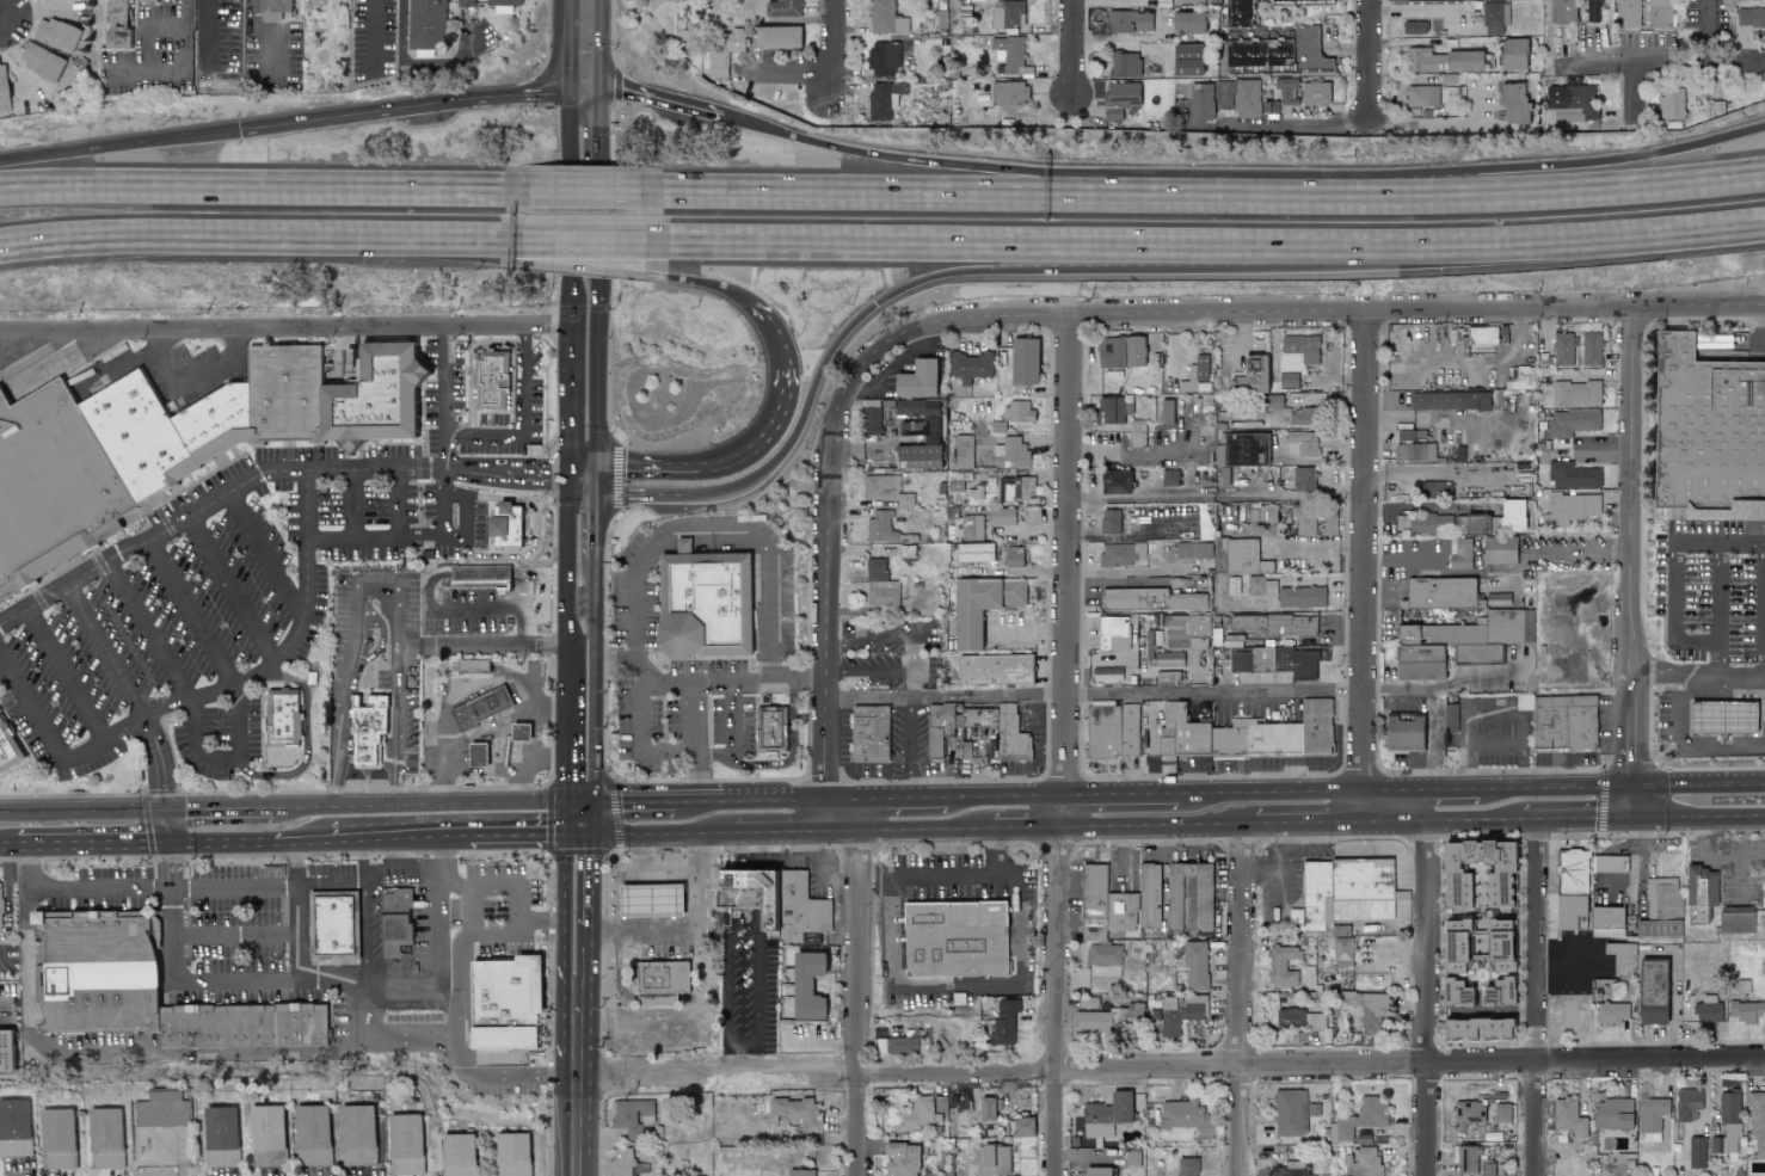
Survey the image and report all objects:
building: (1125, 0)
building: (1293, 0)
building: (37, 1)
building: (148, 1)
building: (1188, 1)
building: (504, 2)
building: (465, 4)
building: (271, 8)
building: (782, 8)
road: (1413, 11)
building: (1592, 11)
building: (1562, 12)
building: (1236, 13)
building: (1007, 14)
building: (1644, 14)
building: (885, 18)
building: (1494, 18)
building: (1752, 18)
building: (1129, 21)
building: (1187, 23)
building: (426, 24)
building: (117, 26)
road: (165, 27)
building: (1414, 27)
parking lot: (1704, 29)
building: (675, 31)
road: (1708, 32)
building: (55, 35)
road: (276, 35)
building: (776, 38)
road: (375, 39)
road: (205, 42)
road: (585, 44)
road: (834, 48)
road: (1071, 48)
building: (1308, 49)
building: (725, 50)
building: (1278, 53)
building: (1009, 54)
building: (1180, 54)
building: (1244, 54)
road: (1366, 55)
building: (1512, 55)
building: (1426, 56)
building: (1408, 57)
building: (884, 59)
building: (41, 61)
building: (1462, 61)
building: (1125, 66)
road: (1661, 66)
road: (416, 67)
road: (183, 70)
building: (2, 86)
building: (1287, 91)
building: (1315, 93)
building: (1009, 94)
building: (1223, 94)
building: (1421, 96)
building: (1247, 98)
building: (1119, 99)
building: (882, 100)
building: (1573, 100)
building: (1200, 103)
building: (1512, 104)
building: (1671, 104)
building: (1271, 106)
road: (412, 109)
road: (1316, 124)
road: (1441, 128)
road: (119, 147)
road: (599, 148)
road: (931, 164)
road: (1586, 165)
road: (273, 190)
road: (584, 192)
road: (1586, 192)
road: (953, 195)
road: (1347, 196)
road: (567, 202)
road: (1759, 227)
road: (1759, 227)
road: (183, 234)
road: (459, 238)
road: (584, 239)
road: (1527, 241)
road: (959, 242)
road: (460, 250)
road: (589, 265)
road: (942, 277)
road: (685, 281)
road: (1366, 313)
road: (284, 328)
road: (773, 331)
building: (1484, 334)
road: (599, 341)
road: (21, 345)
road: (1243, 345)
building: (1591, 347)
building: (1562, 349)
building: (1120, 350)
building: (1298, 352)
building: (1022, 359)
road: (891, 361)
building: (970, 365)
road: (1463, 365)
building: (1201, 367)
road: (475, 369)
building: (1250, 374)
road: (192, 376)
building: (915, 377)
building: (1521, 377)
building: (493, 380)
building: (1287, 380)
road: (524, 382)
road: (570, 394)
building: (1576, 394)
parking lot: (529, 396)
road: (445, 398)
building: (1450, 400)
building: (1265, 401)
building: (910, 407)
building: (1112, 408)
building: (1017, 411)
building: (1167, 411)
building: (1302, 417)
building: (871, 418)
building: (1573, 423)
building: (1137, 433)
building: (1406, 435)
building: (1711, 435)
road: (486, 438)
road: (765, 438)
building: (1303, 442)
building: (172, 445)
building: (1242, 449)
building: (964, 451)
building: (1010, 451)
building: (1414, 451)
building: (918, 452)
road: (641, 467)
road: (515, 472)
building: (1572, 475)
building: (1169, 478)
building: (1298, 478)
road: (584, 481)
building: (1113, 481)
building: (1017, 487)
building: (1437, 488)
building: (885, 490)
road: (635, 497)
road: (1216, 499)
road: (401, 504)
road: (210, 505)
road: (353, 505)
building: (1573, 510)
building: (1260, 512)
building: (1001, 516)
road: (444, 518)
building: (502, 519)
building: (1303, 519)
building: (1328, 519)
building: (1495, 519)
building: (1109, 521)
building: (1423, 523)
road: (465, 525)
building: (880, 525)
building: (968, 527)
road: (584, 528)
road: (830, 536)
road: (355, 541)
building: (1194, 549)
building: (1499, 549)
road: (1635, 549)
building: (972, 550)
building: (1121, 554)
building: (1460, 554)
building: (1237, 555)
building: (1013, 556)
road: (1591, 556)
road: (265, 559)
road: (1364, 567)
building: (875, 569)
road: (1066, 569)
road: (1674, 572)
road: (636, 574)
building: (491, 578)
road: (377, 583)
road: (1137, 584)
building: (1261, 586)
road: (230, 592)
building: (1441, 595)
building: (882, 596)
building: (1300, 596)
building: (1496, 599)
building: (1137, 602)
building: (980, 604)
road: (498, 607)
building: (706, 607)
road: (1718, 611)
road: (192, 614)
building: (1219, 622)
building: (1275, 623)
road: (583, 626)
building: (1187, 626)
road: (149, 630)
road: (1026, 630)
building: (1113, 633)
road: (899, 640)
building: (1231, 640)
road: (355, 641)
building: (1177, 642)
building: (1457, 642)
road: (491, 645)
road: (106, 651)
road: (609, 661)
building: (1277, 661)
building: (472, 665)
building: (994, 669)
road: (264, 671)
road: (872, 673)
road: (7, 675)
road: (67, 677)
building: (1163, 677)
road: (1699, 678)
road: (400, 681)
road: (519, 684)
road: (1185, 692)
building: (1502, 701)
road: (559, 702)
road: (33, 704)
building: (480, 707)
road: (1498, 714)
building: (1450, 716)
building: (1720, 716)
building: (284, 719)
gas station: (1726, 719)
road: (242, 720)
building: (954, 722)
building: (1566, 726)
building: (1318, 728)
building: (1111, 729)
building: (517, 731)
building: (774, 731)
building: (1009, 731)
building: (368, 733)
building: (1407, 733)
building: (872, 735)
building: (1191, 735)
building: (1453, 739)
road: (695, 740)
building: (1257, 740)
building: (1275, 740)
building: (1293, 740)
road: (1433, 740)
building: (1229, 741)
road: (1498, 745)
road: (199, 746)
road: (912, 746)
road: (1689, 746)
building: (8, 747)
road: (583, 749)
road: (338, 750)
building: (965, 750)
building: (474, 753)
road: (685, 756)
road: (559, 759)
road: (161, 761)
road: (522, 786)
road: (1699, 786)
traffic signals: (1634, 788)
road: (1555, 789)
road: (399, 790)
road: (1419, 790)
road: (1271, 792)
road: (1121, 794)
road: (1007, 795)
road: (888, 796)
road: (774, 798)
road: (697, 799)
road: (628, 801)
traffic signals: (583, 802)
road: (426, 804)
road: (1634, 805)
road: (219, 807)
traffic signals: (166, 809)
road: (82, 811)
road: (583, 821)
road: (1699, 821)
road: (1441, 823)
road: (1579, 823)
traffic signals: (1634, 823)
road: (1028, 824)
road: (1160, 824)
road: (1309, 824)
road: (910, 827)
road: (779, 832)
road: (657, 837)
road: (529, 839)
road: (400, 841)
traffic signals: (583, 841)
road: (246, 842)
traffic signals: (168, 844)
road: (87, 845)
road: (4, 849)
road: (168, 849)
road: (404, 854)
road: (438, 854)
road: (1129, 856)
road: (1715, 861)
road: (824, 863)
building: (1609, 863)
road: (297, 864)
road: (364, 864)
road: (1263, 866)
road: (1283, 867)
road: (29, 869)
building: (1573, 872)
road: (952, 873)
road: (582, 882)
road: (1739, 885)
road: (239, 888)
road: (480, 888)
building: (1499, 889)
building: (1346, 891)
building: (1699, 892)
building: (1151, 893)
building: (1191, 895)
building: (1663, 898)
building: (771, 899)
building: (0, 903)
building: (653, 903)
building: (1103, 906)
road: (7, 909)
building: (1569, 910)
road: (524, 912)
building: (1606, 916)
road: (25, 917)
building: (394, 919)
road: (553, 921)
building: (1736, 921)
building: (1760, 921)
road: (439, 922)
building: (1673, 928)
building: (1644, 929)
road: (365, 934)
road: (172, 935)
road: (299, 935)
road: (731, 935)
road: (497, 936)
road: (235, 937)
road: (582, 937)
road: (690, 940)
building: (958, 942)
building: (1476, 943)
road: (461, 947)
road: (1569, 950)
building: (1341, 952)
building: (1103, 954)
building: (1622, 958)
building: (1194, 965)
building: (1283, 966)
building: (97, 971)
building: (1103, 971)
building: (665, 978)
road: (307, 981)
building: (805, 985)
road: (966, 985)
building: (1742, 986)
building: (1650, 991)
building: (1498, 992)
building: (1456, 993)
road: (1427, 998)
road: (1058, 999)
road: (1536, 999)
road: (1242, 1000)
road: (859, 1003)
building: (509, 1004)
building: (1708, 1010)
building: (1745, 1010)
road: (365, 1011)
road: (582, 1012)
building: (1181, 1012)
building: (1371, 1012)
building: (1612, 1012)
road: (4, 1014)
building: (1133, 1016)
building: (1300, 1020)
building: (1003, 1021)
building: (1091, 1021)
building: (240, 1026)
building: (1476, 1028)
road: (412, 1042)
building: (900, 1046)
building: (7, 1051)
road: (153, 1054)
road: (745, 1060)
road: (461, 1066)
road: (1195, 1071)
road: (565, 1076)
building: (1687, 1103)
building: (988, 1108)
building: (164, 1110)
building: (1465, 1112)
building: (794, 1113)
building: (1287, 1113)
building: (1501, 1113)
building: (1612, 1113)
building: (918, 1114)
building: (633, 1115)
building: (1105, 1115)
building: (1185, 1115)
building: (1360, 1117)
building: (1569, 1117)
building: (1652, 1117)
building: (1757, 1121)
building: (1728, 1123)
road: (579, 1126)
building: (1022, 1126)
building: (14, 1127)
building: (267, 1134)
building: (312, 1134)
building: (357, 1134)
building: (222, 1135)
building: (56, 1138)
building: (105, 1138)
building: (404, 1144)
building: (1696, 1152)
building: (511, 1153)
building: (457, 1155)
road: (166, 1157)
building: (902, 1158)
building: (994, 1159)
building: (1466, 1159)
building: (1132, 1163)
building: (1363, 1163)
building: (1186, 1166)
building: (1289, 1169)
building: (1095, 1171)
building: (800, 1172)

